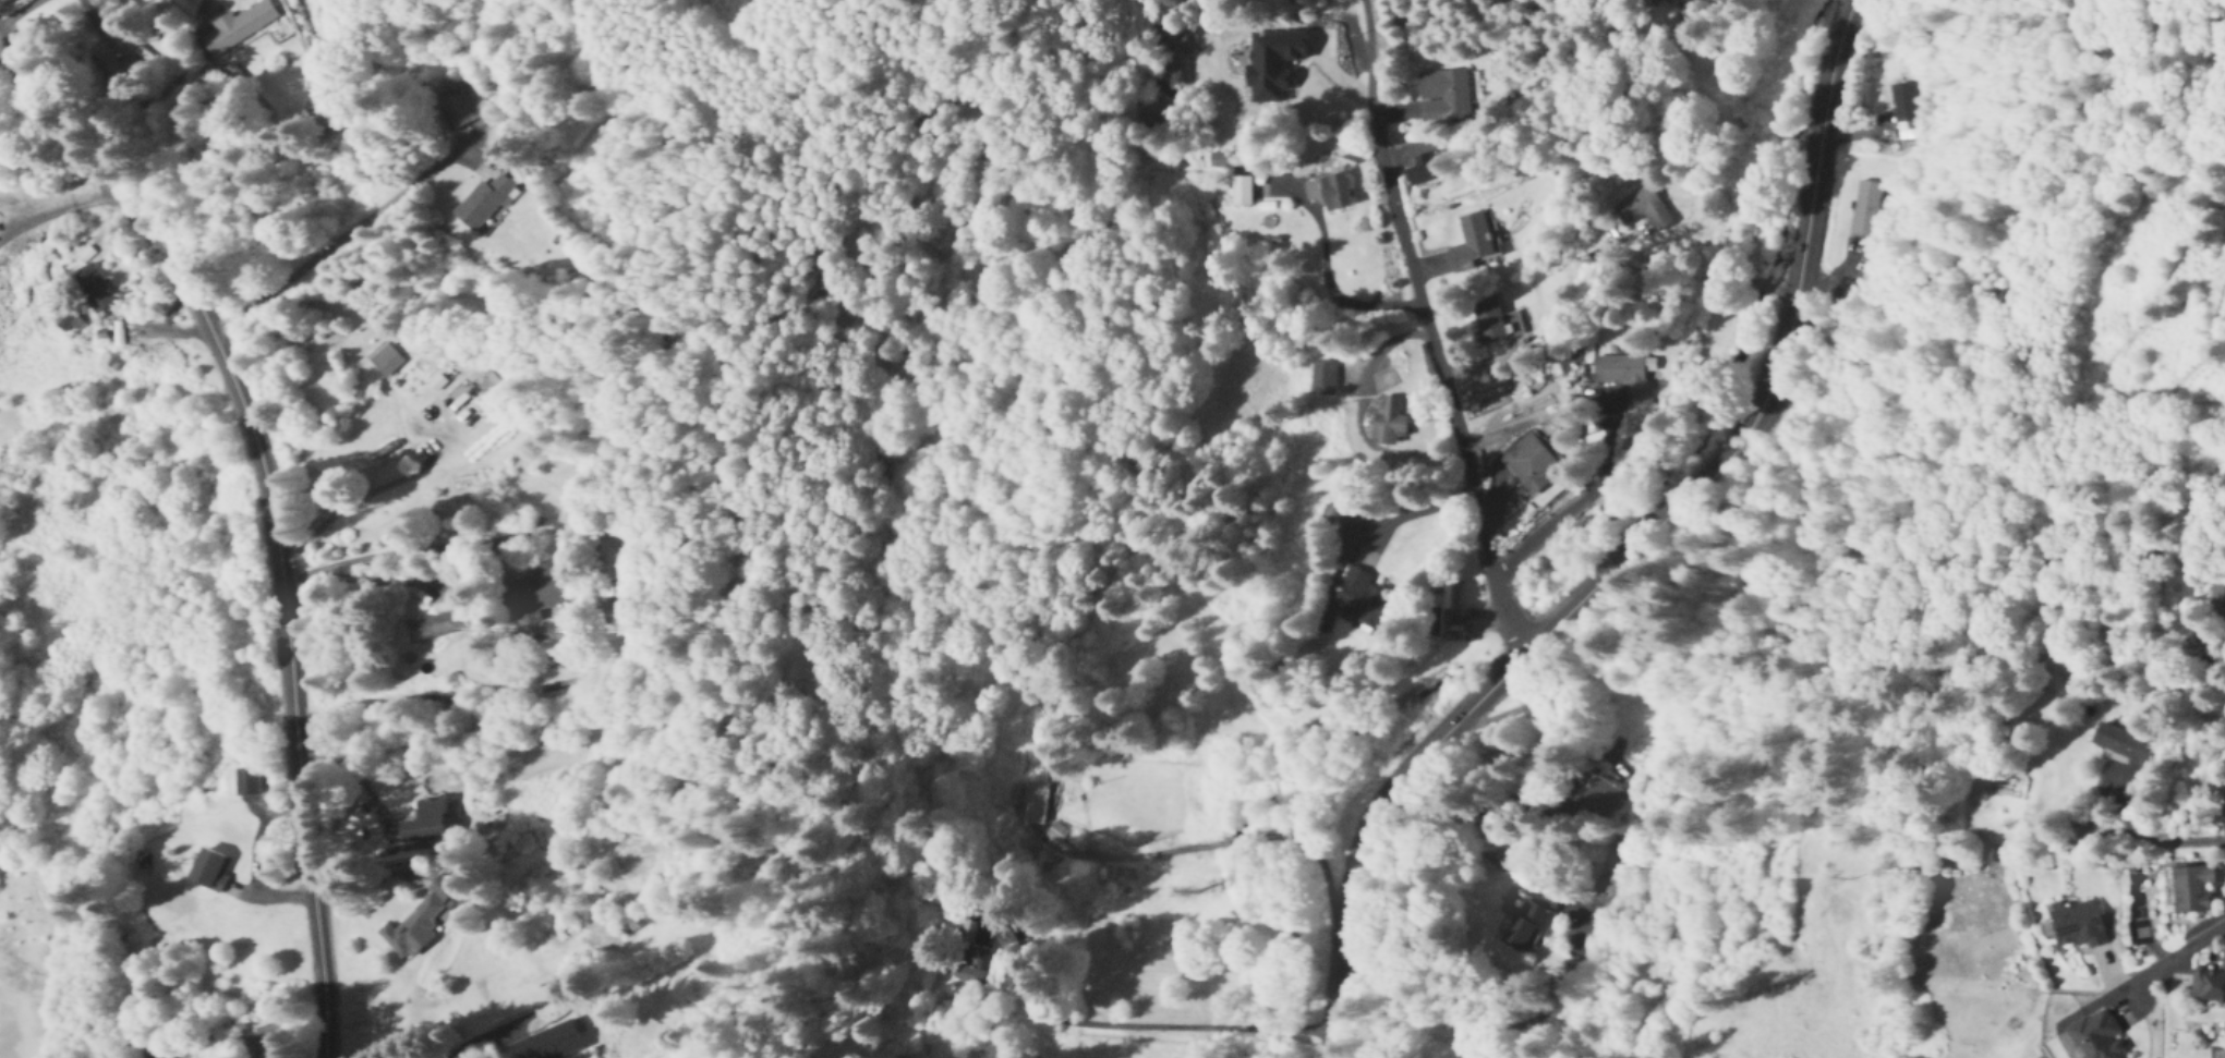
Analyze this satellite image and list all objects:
road: (17, 9)
road: (1835, 9)
building: (245, 27)
building: (114, 65)
road: (17, 73)
building: (1442, 95)
building: (463, 106)
building: (1904, 108)
building: (1214, 160)
building: (1420, 169)
building: (1240, 191)
building: (1328, 191)
building: (482, 203)
road: (60, 206)
building: (1867, 209)
building: (1642, 210)
road: (343, 235)
building: (1470, 243)
road: (1710, 268)
road: (1761, 282)
building: (90, 289)
road: (1783, 289)
road: (1329, 294)
building: (1490, 319)
road: (1425, 330)
building: (383, 357)
building: (1627, 377)
building: (1322, 378)
building: (457, 398)
building: (1388, 423)
building: (1532, 461)
road: (269, 506)
road: (348, 506)
road: (1410, 519)
road: (1546, 531)
road: (1638, 540)
road: (423, 548)
building: (536, 593)
building: (2216, 594)
building: (1358, 598)
building: (1442, 604)
building: (434, 624)
building: (2126, 745)
building: (246, 781)
road: (349, 785)
building: (1599, 795)
building: (1026, 801)
building: (2206, 812)
building: (425, 823)
road: (2151, 836)
road: (1237, 839)
building: (1621, 853)
building: (208, 871)
road: (2223, 871)
building: (2191, 889)
building: (415, 922)
building: (1527, 924)
building: (2076, 926)
road: (2168, 963)
building: (965, 966)
building: (2209, 985)
road: (1174, 1024)
building: (2096, 1036)
building: (266, 1042)
road: (1333, 1043)
building: (545, 1044)
road: (474, 1046)

